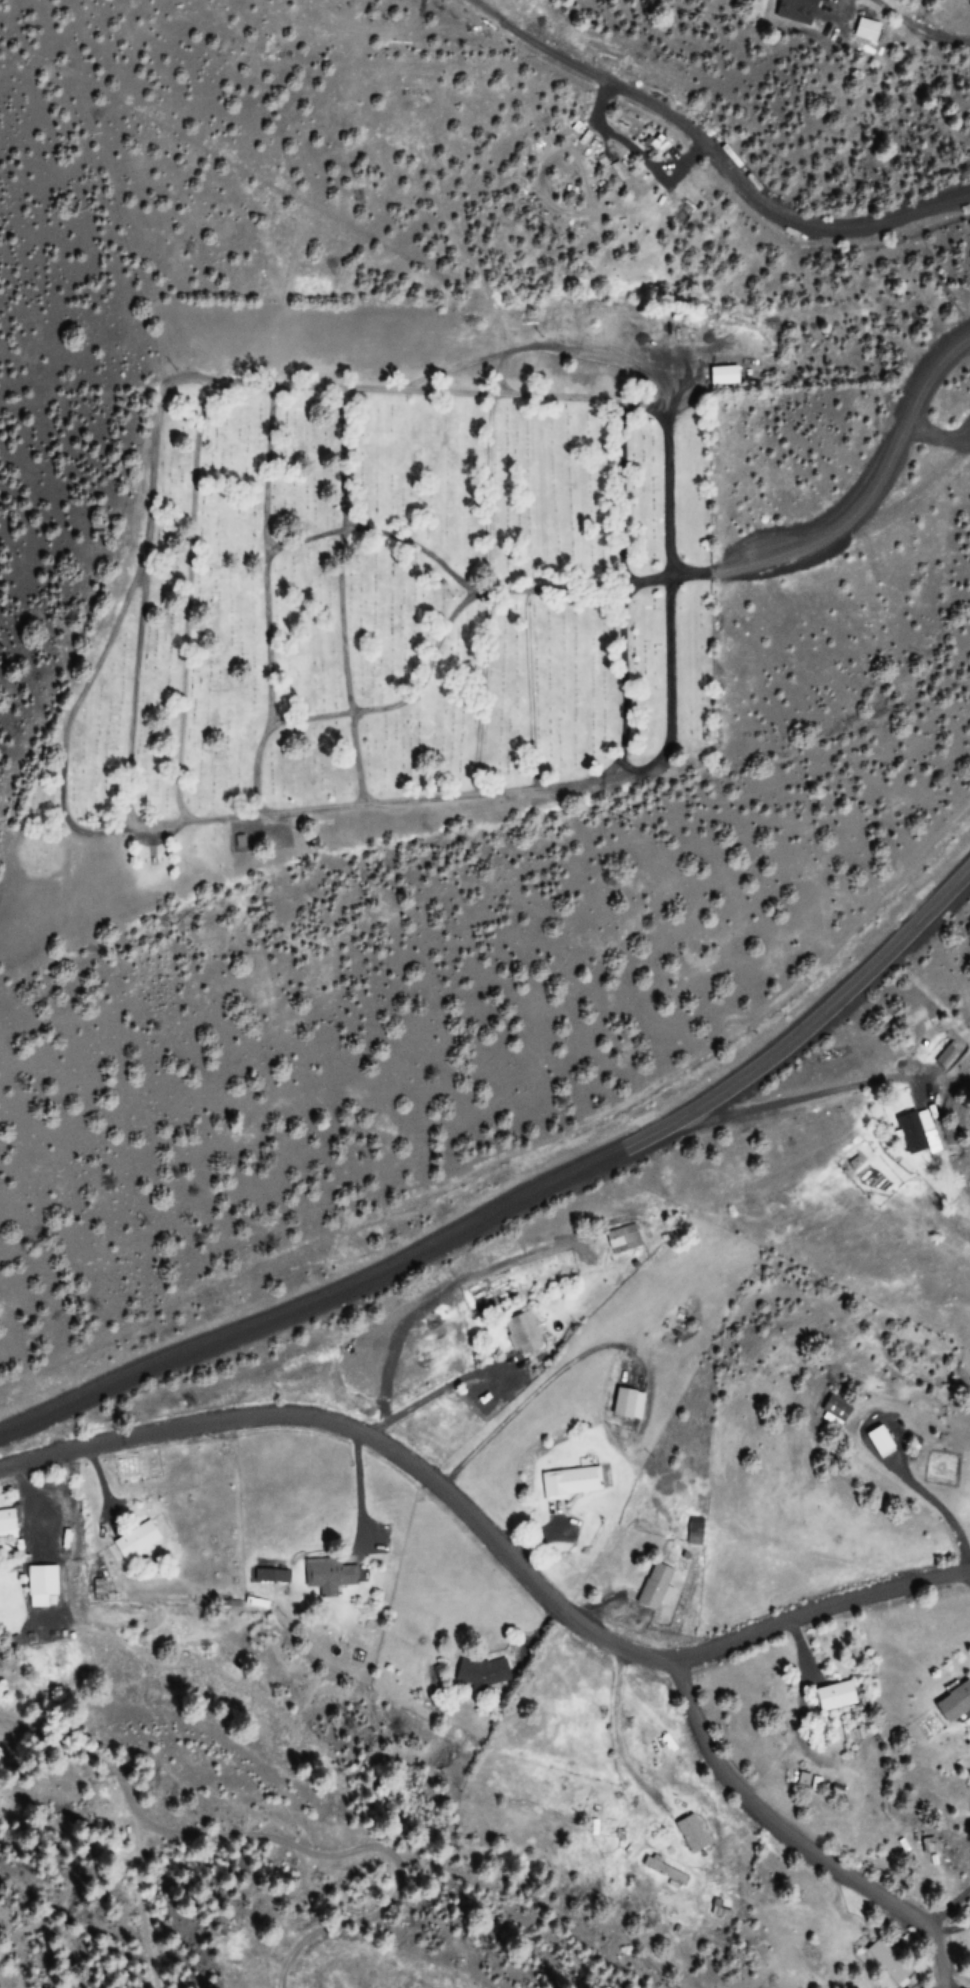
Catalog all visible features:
building: (796, 10)
road: (918, 28)
building: (869, 36)
road: (712, 149)
building: (720, 375)
road: (874, 488)
park: (397, 593)
road: (834, 1007)
building: (947, 1057)
road: (795, 1102)
building: (920, 1134)
building: (622, 1239)
road: (344, 1284)
building: (519, 1335)
building: (620, 1401)
building: (833, 1407)
road: (404, 1411)
building: (877, 1441)
building: (566, 1481)
building: (5, 1523)
building: (690, 1532)
road: (490, 1539)
building: (131, 1540)
building: (323, 1575)
building: (37, 1580)
building: (652, 1586)
building: (475, 1671)
building: (832, 1695)
building: (953, 1702)
building: (686, 1832)
road: (795, 1837)
building: (928, 1845)
building: (663, 1872)
building: (889, 1960)

